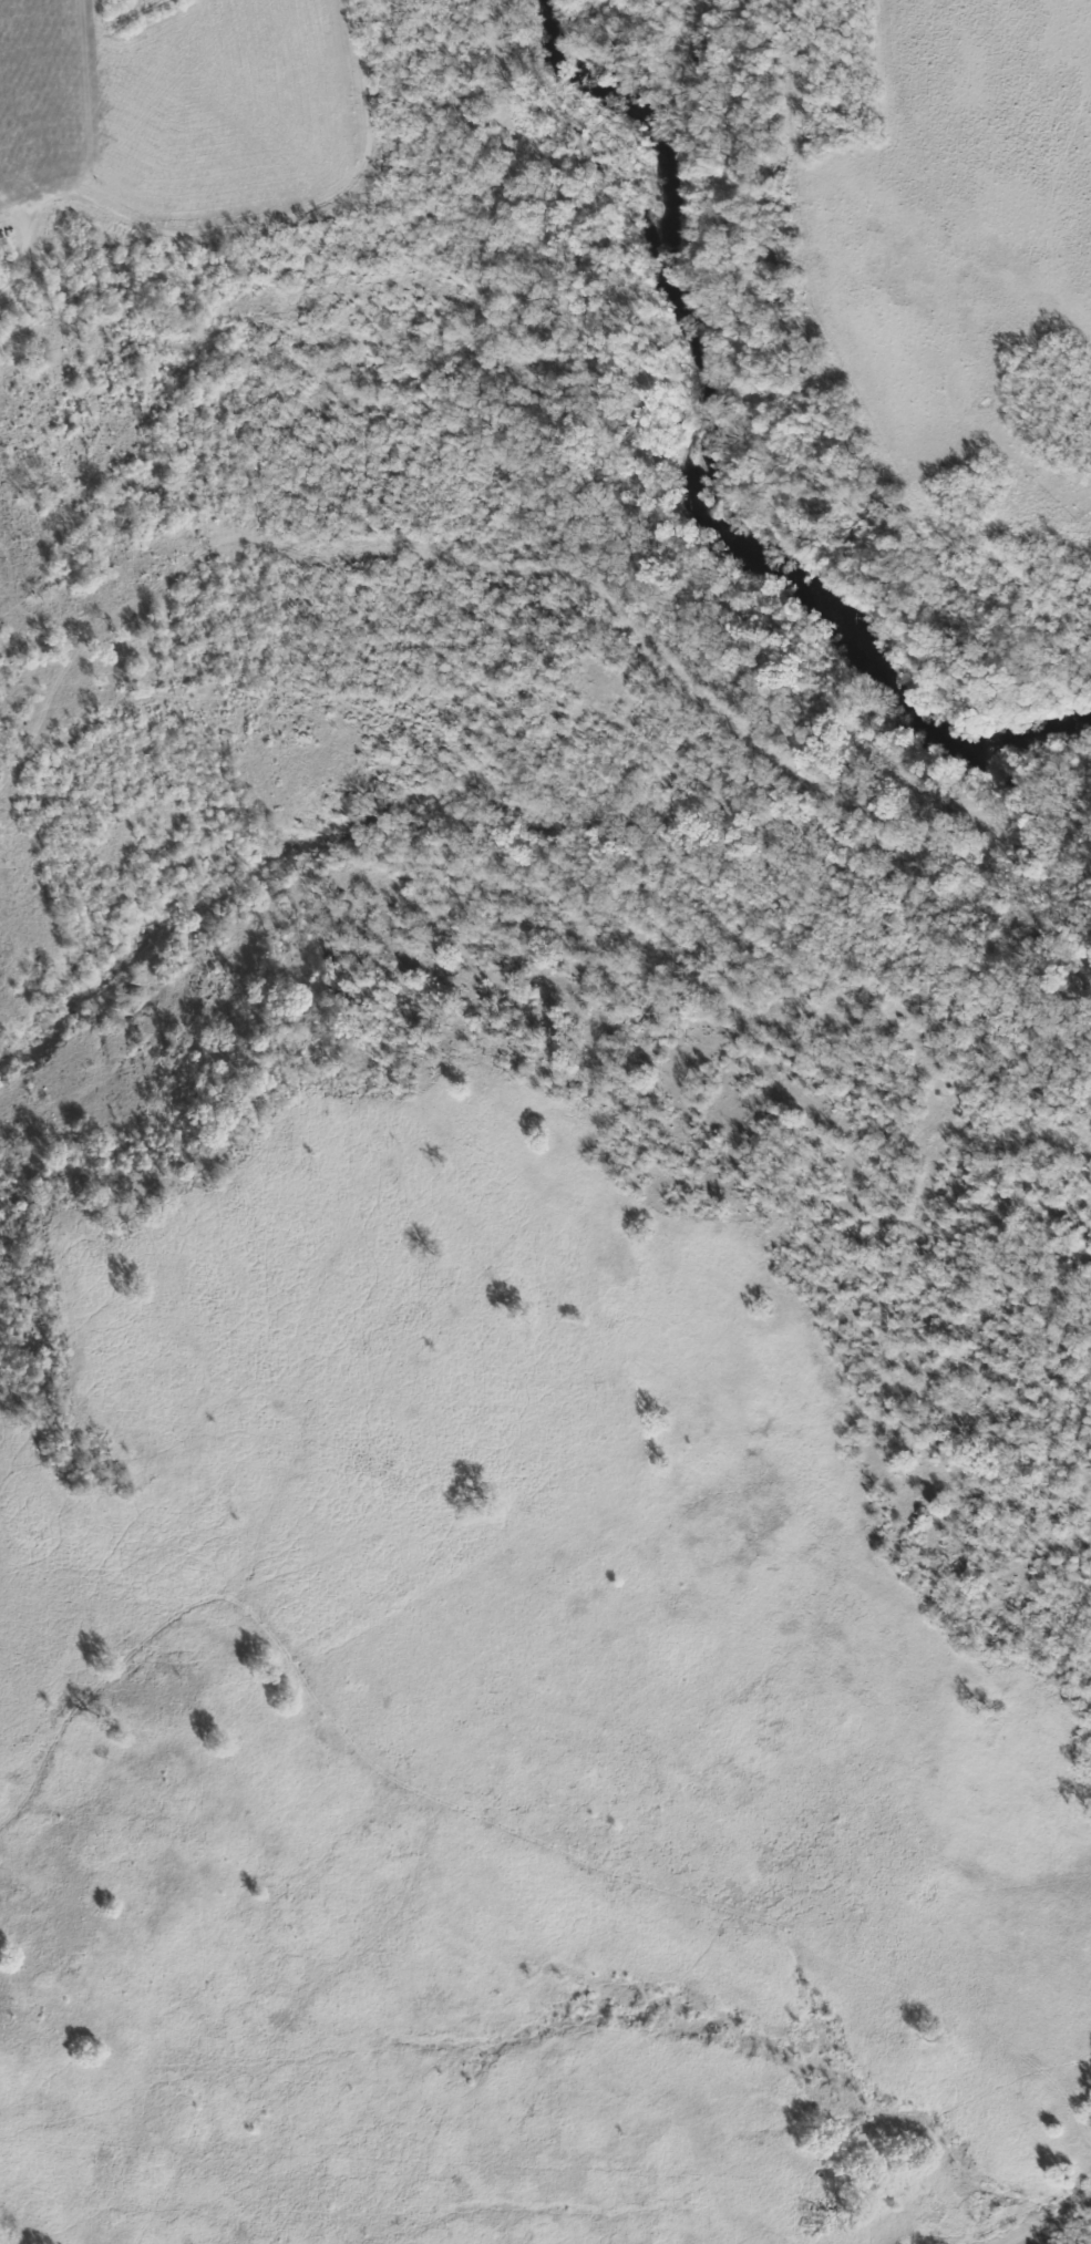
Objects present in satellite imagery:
river: (701, 476)

